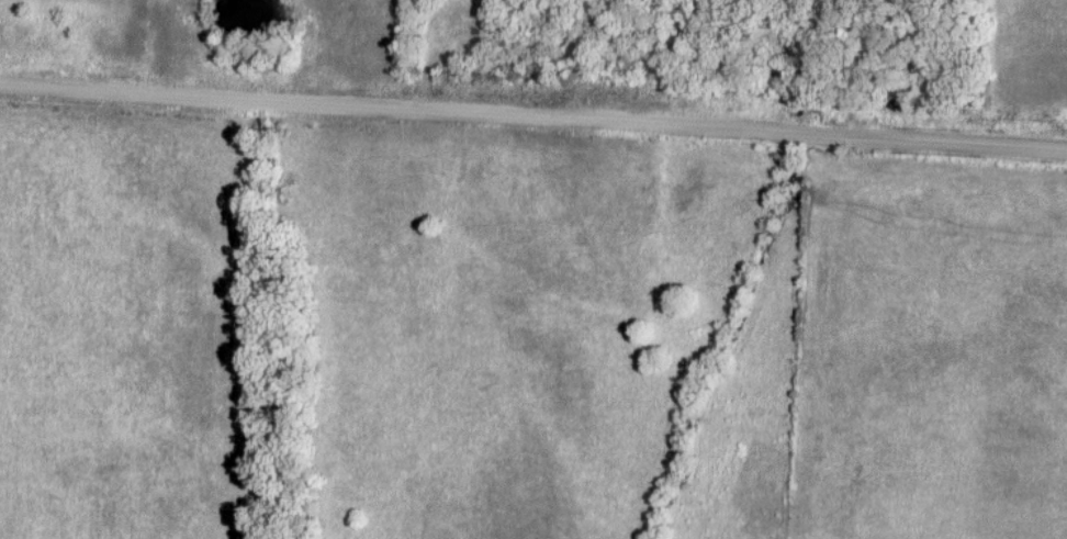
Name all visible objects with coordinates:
road: (533, 108)

